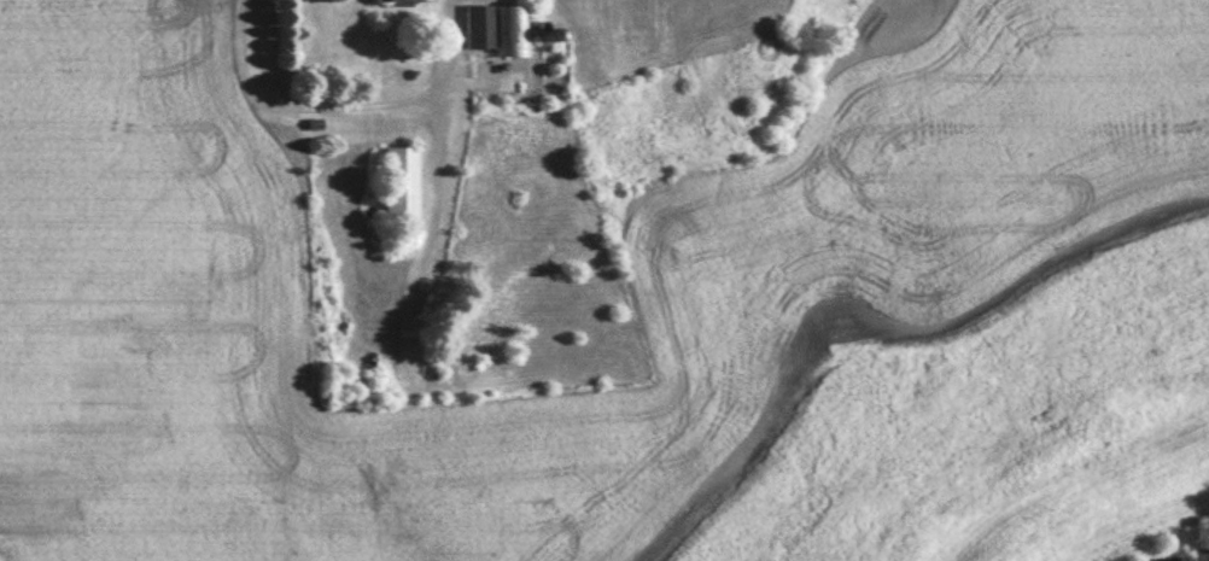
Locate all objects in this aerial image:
building: (393, 4)
building: (495, 33)
building: (391, 80)
building: (397, 185)
crop: (833, 273)

